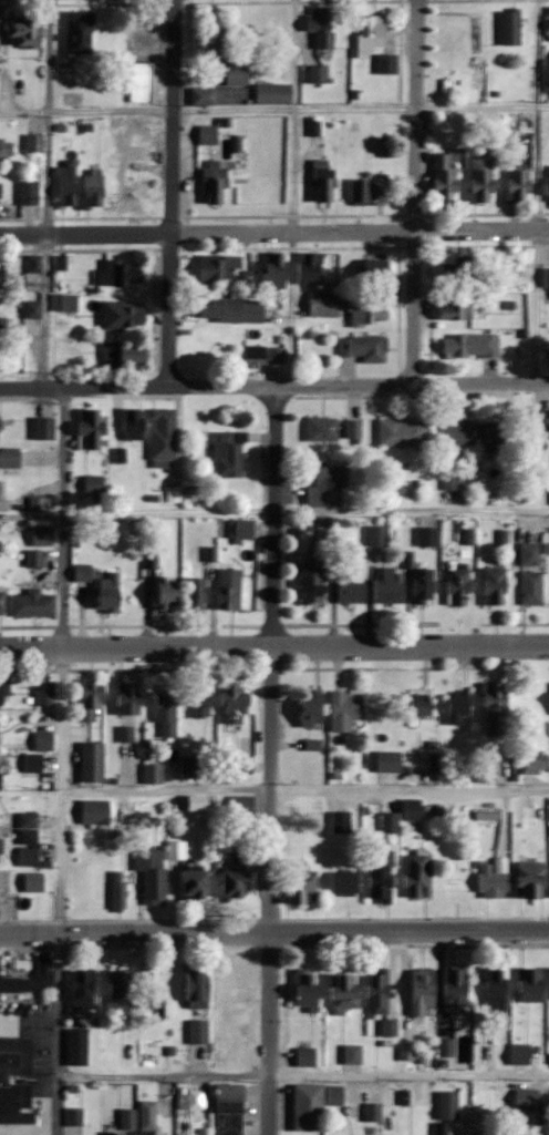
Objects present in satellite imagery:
building: (25, 28)
building: (321, 28)
building: (511, 28)
building: (80, 32)
building: (372, 35)
building: (389, 64)
building: (318, 74)
building: (141, 82)
building: (274, 93)
road: (274, 111)
building: (314, 126)
building: (34, 143)
building: (7, 150)
building: (132, 157)
building: (445, 177)
building: (324, 180)
building: (483, 180)
building: (70, 183)
building: (218, 184)
building: (520, 186)
building: (547, 186)
building: (94, 188)
building: (371, 190)
road: (416, 191)
road: (291, 192)
building: (30, 193)
road: (172, 193)
building: (0, 194)
road: (48, 194)
road: (274, 232)
building: (219, 268)
building: (312, 268)
building: (377, 269)
building: (460, 269)
building: (274, 270)
building: (122, 274)
building: (546, 277)
building: (2, 282)
building: (65, 303)
building: (324, 304)
road: (537, 305)
building: (34, 309)
building: (232, 310)
building: (456, 310)
building: (365, 313)
building: (124, 316)
building: (1, 325)
building: (472, 345)
building: (363, 348)
building: (126, 355)
building: (255, 355)
building: (278, 356)
road: (274, 386)
building: (135, 423)
building: (0, 426)
building: (92, 427)
building: (45, 428)
building: (323, 429)
building: (354, 430)
building: (404, 432)
building: (460, 432)
building: (164, 436)
building: (498, 438)
building: (230, 450)
building: (10, 458)
building: (94, 484)
building: (450, 484)
building: (329, 487)
building: (0, 489)
building: (39, 503)
road: (412, 512)
road: (169, 514)
building: (242, 530)
building: (43, 534)
building: (377, 536)
building: (428, 536)
building: (322, 553)
building: (530, 554)
building: (34, 558)
building: (84, 572)
building: (459, 584)
building: (424, 585)
building: (312, 586)
building: (496, 586)
building: (231, 587)
building: (390, 587)
building: (531, 587)
building: (108, 592)
building: (168, 592)
building: (197, 592)
building: (352, 592)
building: (3, 601)
building: (34, 603)
road: (273, 646)
building: (2, 695)
building: (44, 695)
building: (128, 698)
building: (90, 701)
building: (235, 703)
building: (413, 704)
building: (454, 705)
building: (487, 705)
building: (201, 708)
building: (313, 709)
building: (346, 710)
building: (168, 716)
building: (126, 734)
building: (44, 740)
road: (272, 759)
building: (386, 760)
road: (61, 761)
building: (528, 761)
building: (34, 763)
building: (93, 763)
building: (547, 763)
building: (242, 764)
building: (194, 765)
building: (1, 773)
building: (480, 773)
building: (154, 774)
road: (304, 790)
building: (241, 807)
building: (410, 809)
building: (96, 812)
building: (341, 821)
building: (391, 824)
building: (29, 839)
building: (177, 850)
building: (153, 873)
building: (418, 877)
building: (237, 878)
building: (524, 878)
building: (382, 879)
building: (487, 879)
building: (548, 879)
building: (34, 882)
building: (195, 882)
building: (344, 882)
building: (303, 887)
building: (120, 891)
road: (273, 930)
building: (45, 971)
building: (547, 980)
building: (12, 982)
building: (528, 983)
building: (198, 986)
building: (234, 988)
building: (495, 988)
building: (84, 989)
building: (308, 989)
building: (123, 990)
building: (424, 991)
building: (456, 991)
building: (379, 992)
building: (346, 993)
building: (198, 1031)
building: (79, 1046)
building: (447, 1047)
building: (353, 1053)
building: (521, 1053)
building: (305, 1055)
road: (301, 1073)
building: (17, 1080)
building: (528, 1098)
building: (449, 1105)
building: (309, 1106)
building: (231, 1110)
building: (373, 1112)
building: (74, 1116)
building: (491, 1133)

